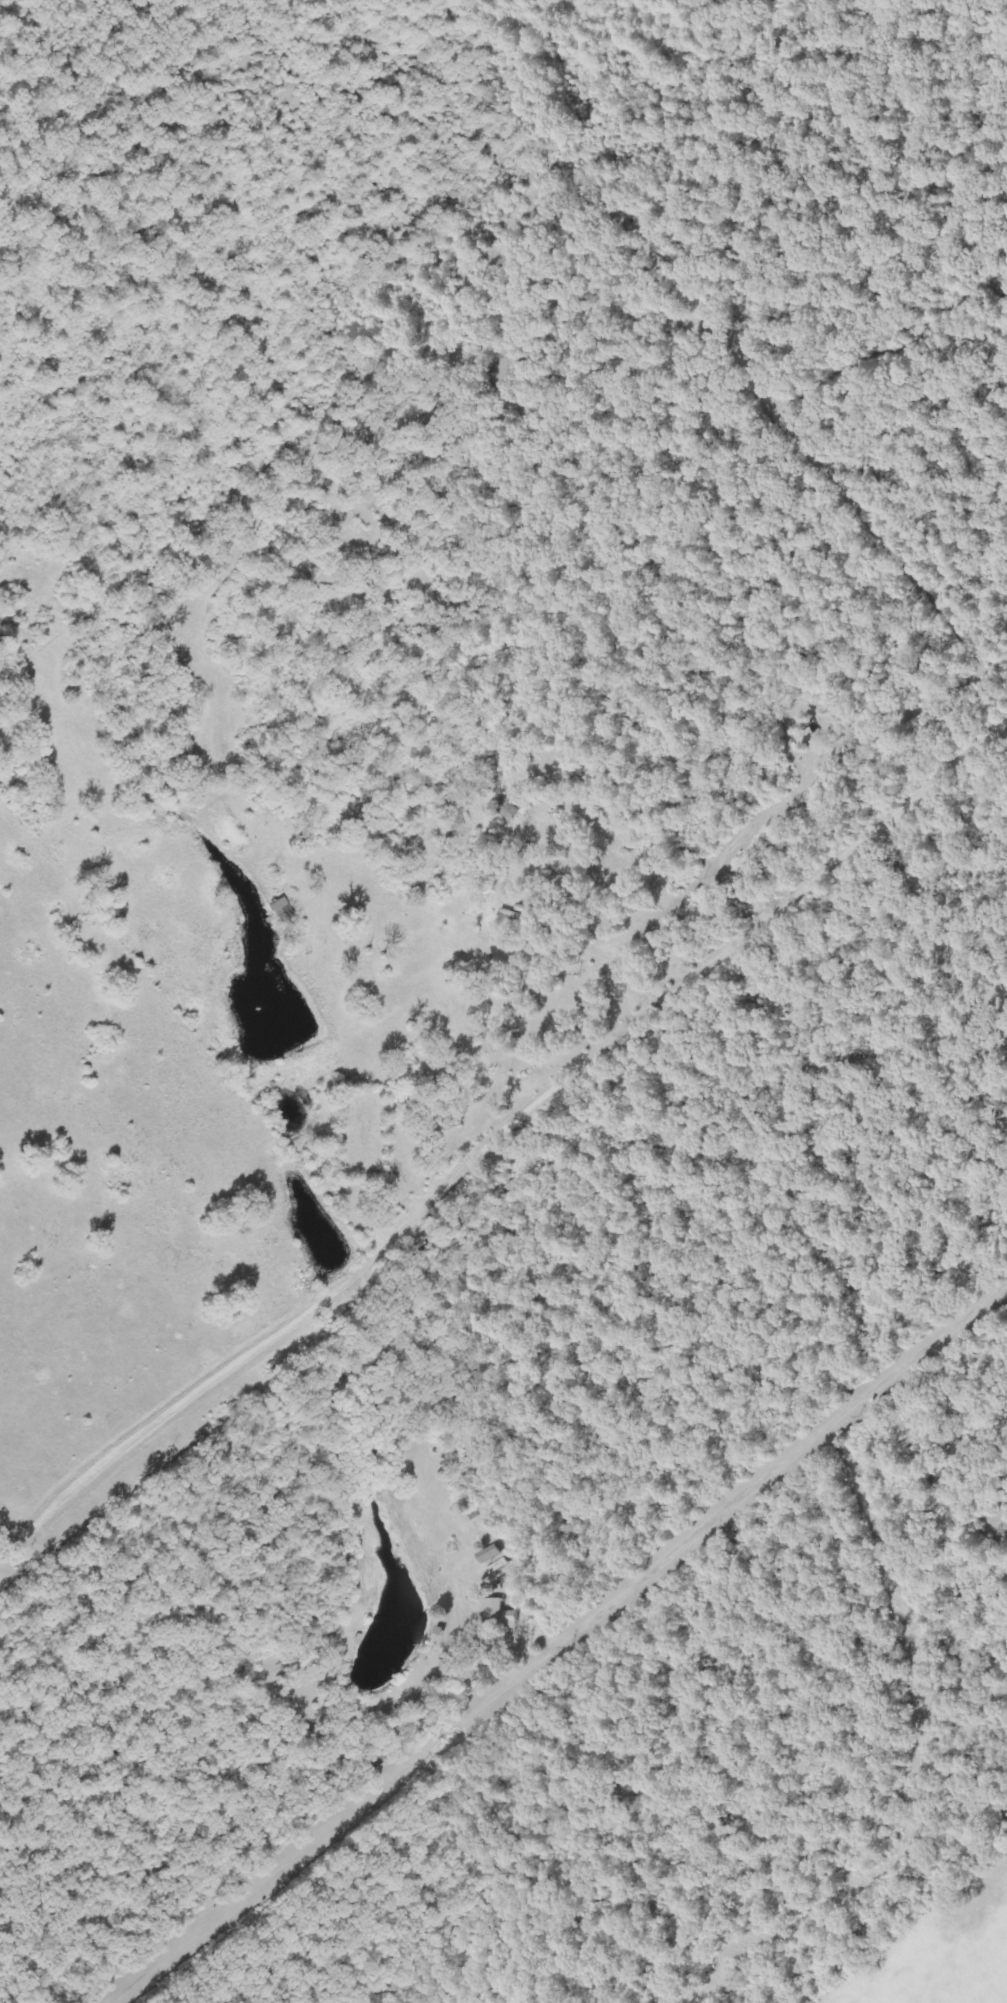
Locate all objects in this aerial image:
building: (806, 737)
building: (507, 808)
road: (858, 1094)

